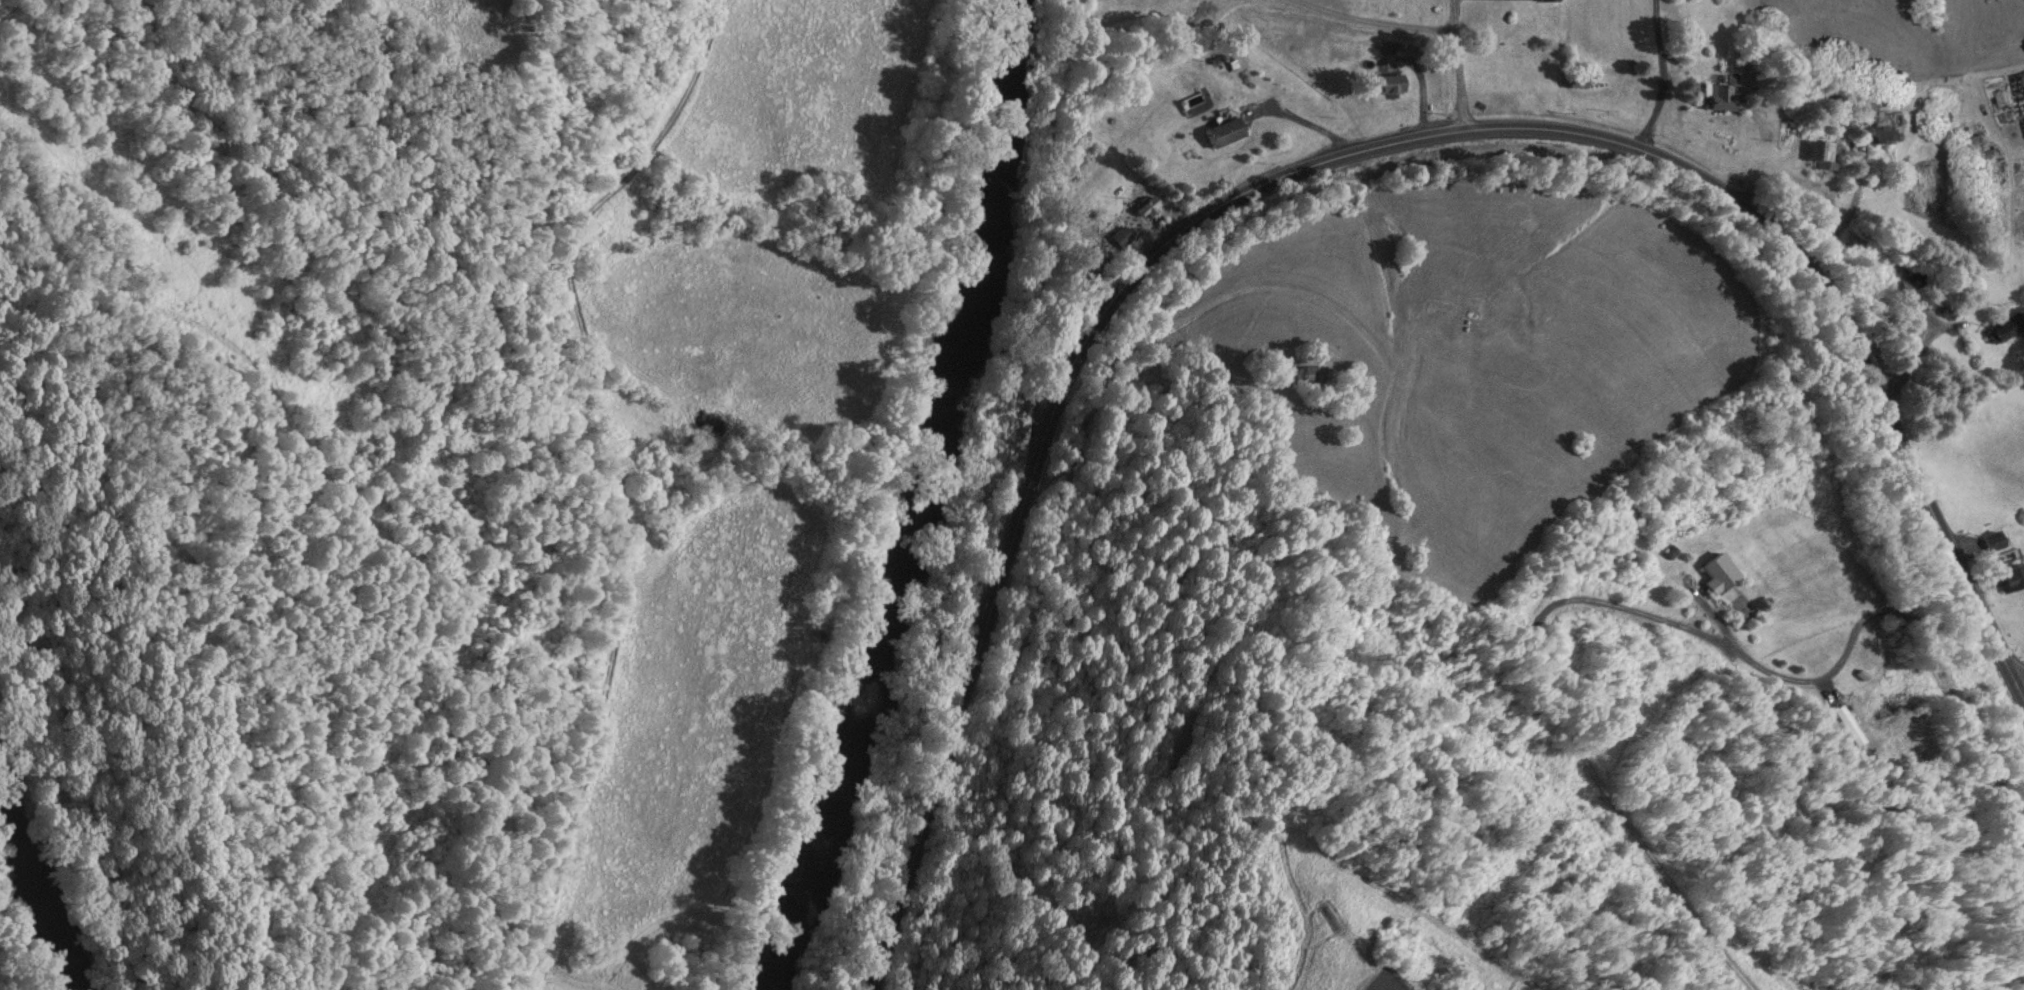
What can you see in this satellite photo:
road: (1376, 22)
road: (1459, 64)
road: (1662, 78)
road: (1308, 128)
road: (1331, 161)
road: (611, 250)
river: (921, 501)
road: (1812, 678)
river: (41, 893)

